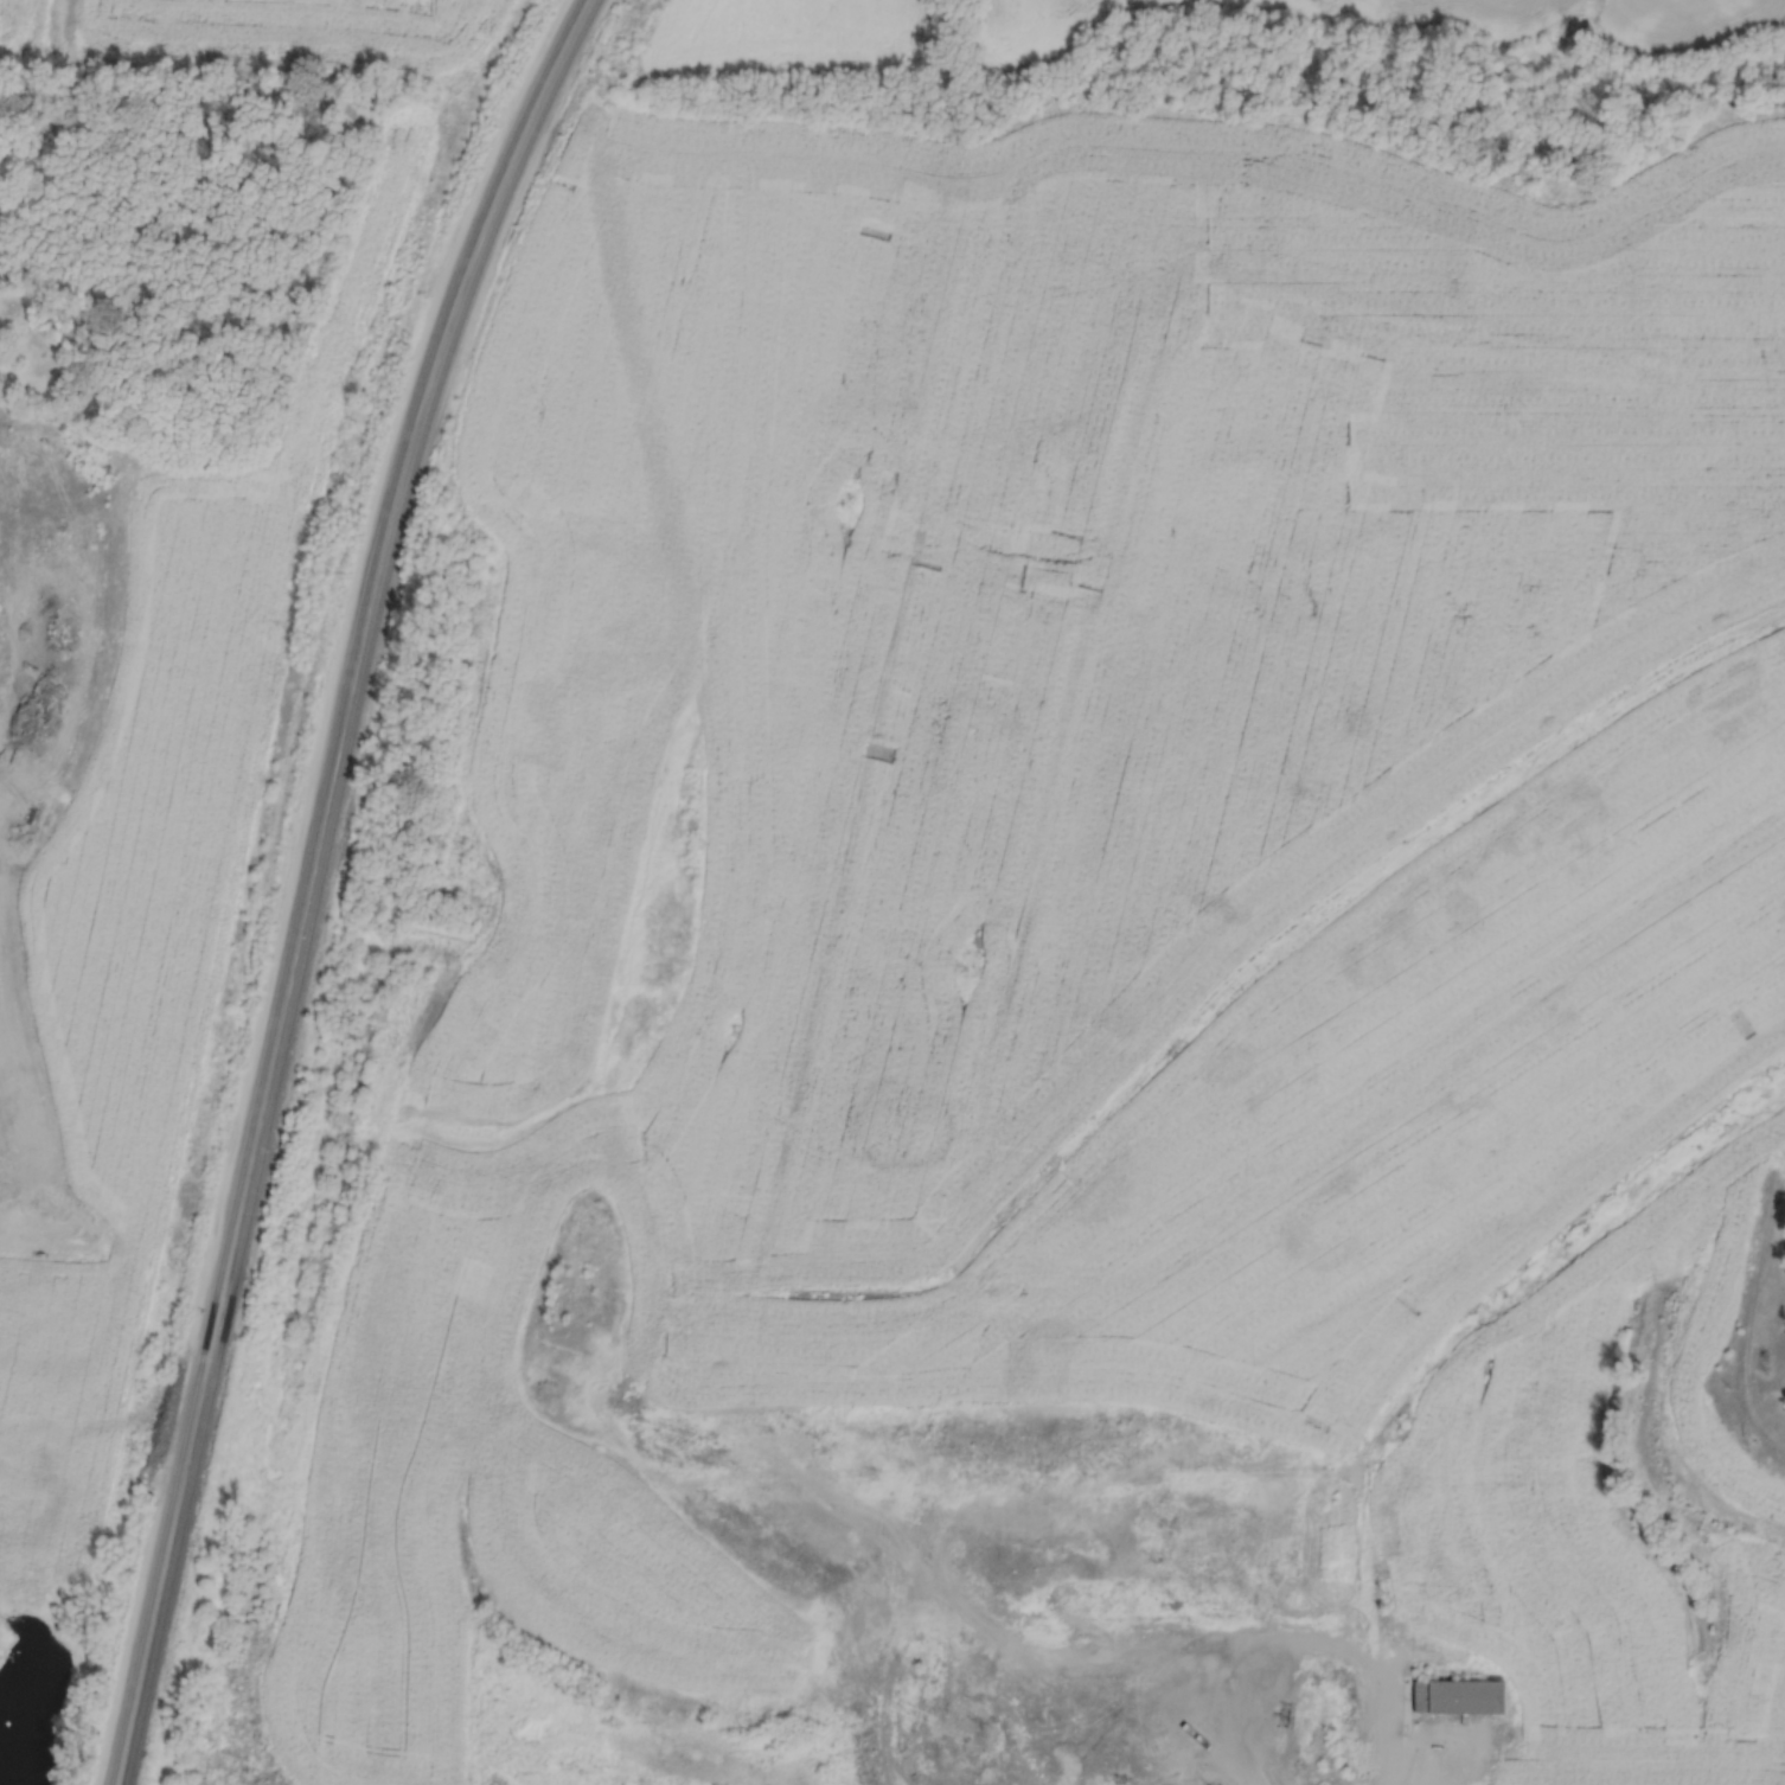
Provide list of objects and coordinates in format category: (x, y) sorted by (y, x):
railway: (315, 878)
railway: (300, 879)
road: (1749, 1295)
road: (1429, 1364)
road: (1250, 1477)
road: (1183, 1653)
building: (1460, 1697)

